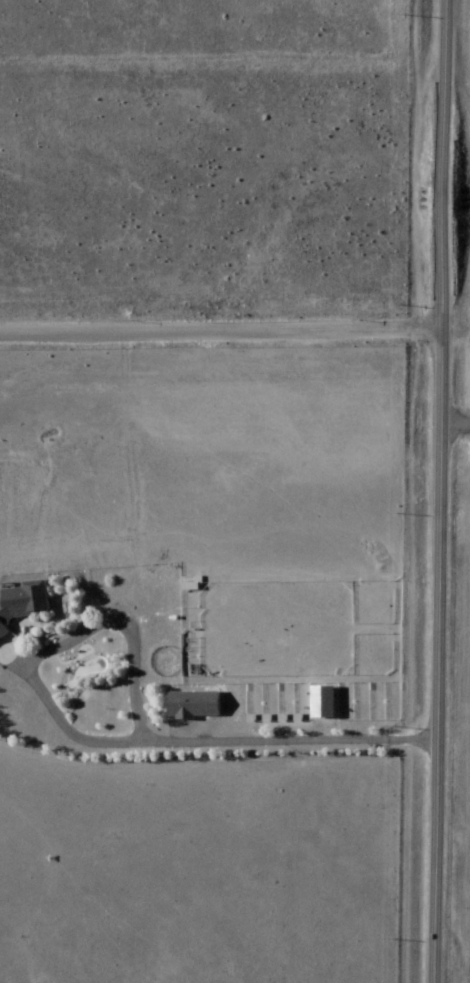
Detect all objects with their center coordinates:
road: (219, 314)
road: (439, 491)
building: (24, 605)
building: (324, 705)
building: (194, 707)
road: (98, 741)

